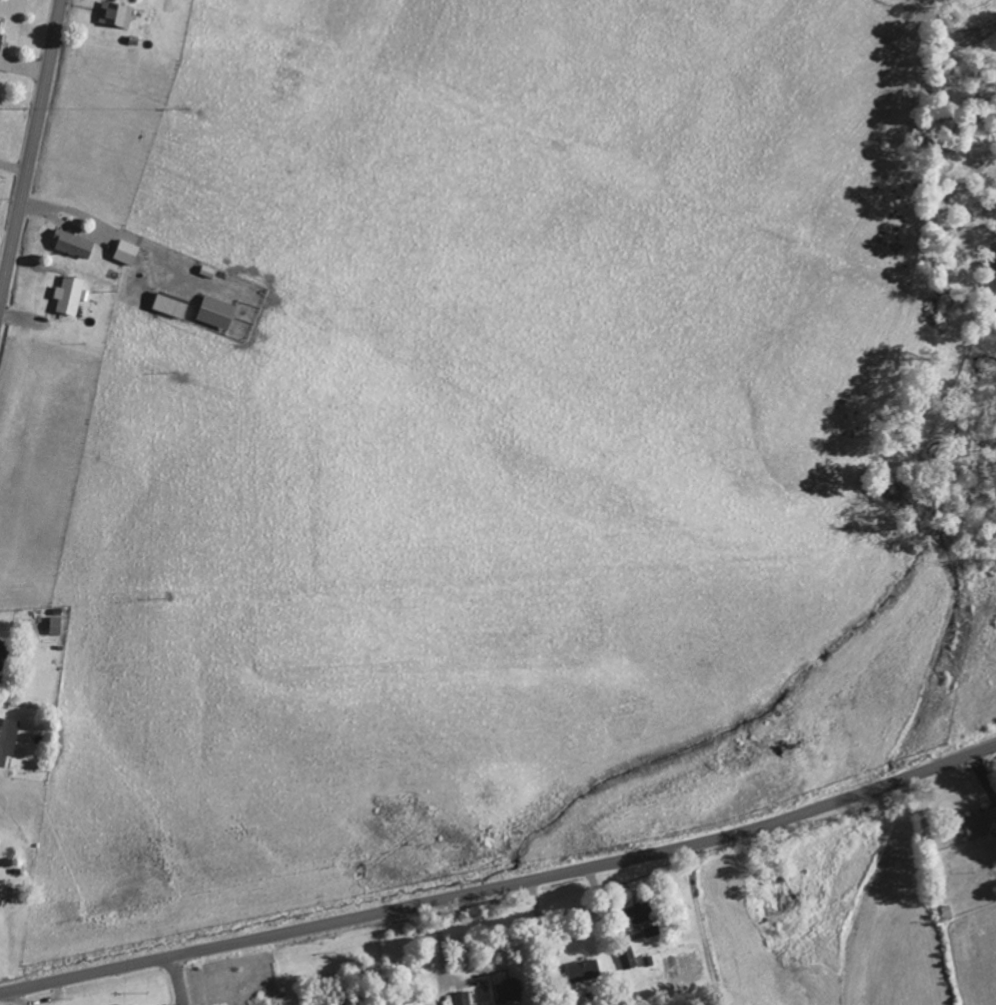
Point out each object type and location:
building: (118, 14)
building: (1, 38)
road: (31, 154)
building: (76, 244)
building: (129, 253)
building: (71, 296)
building: (172, 306)
building: (219, 313)
building: (4, 657)
building: (8, 739)
building: (982, 822)
road: (502, 886)
building: (776, 894)
building: (949, 912)
building: (646, 917)
building: (628, 958)
building: (585, 970)
road: (174, 981)
building: (511, 989)
building: (463, 998)

